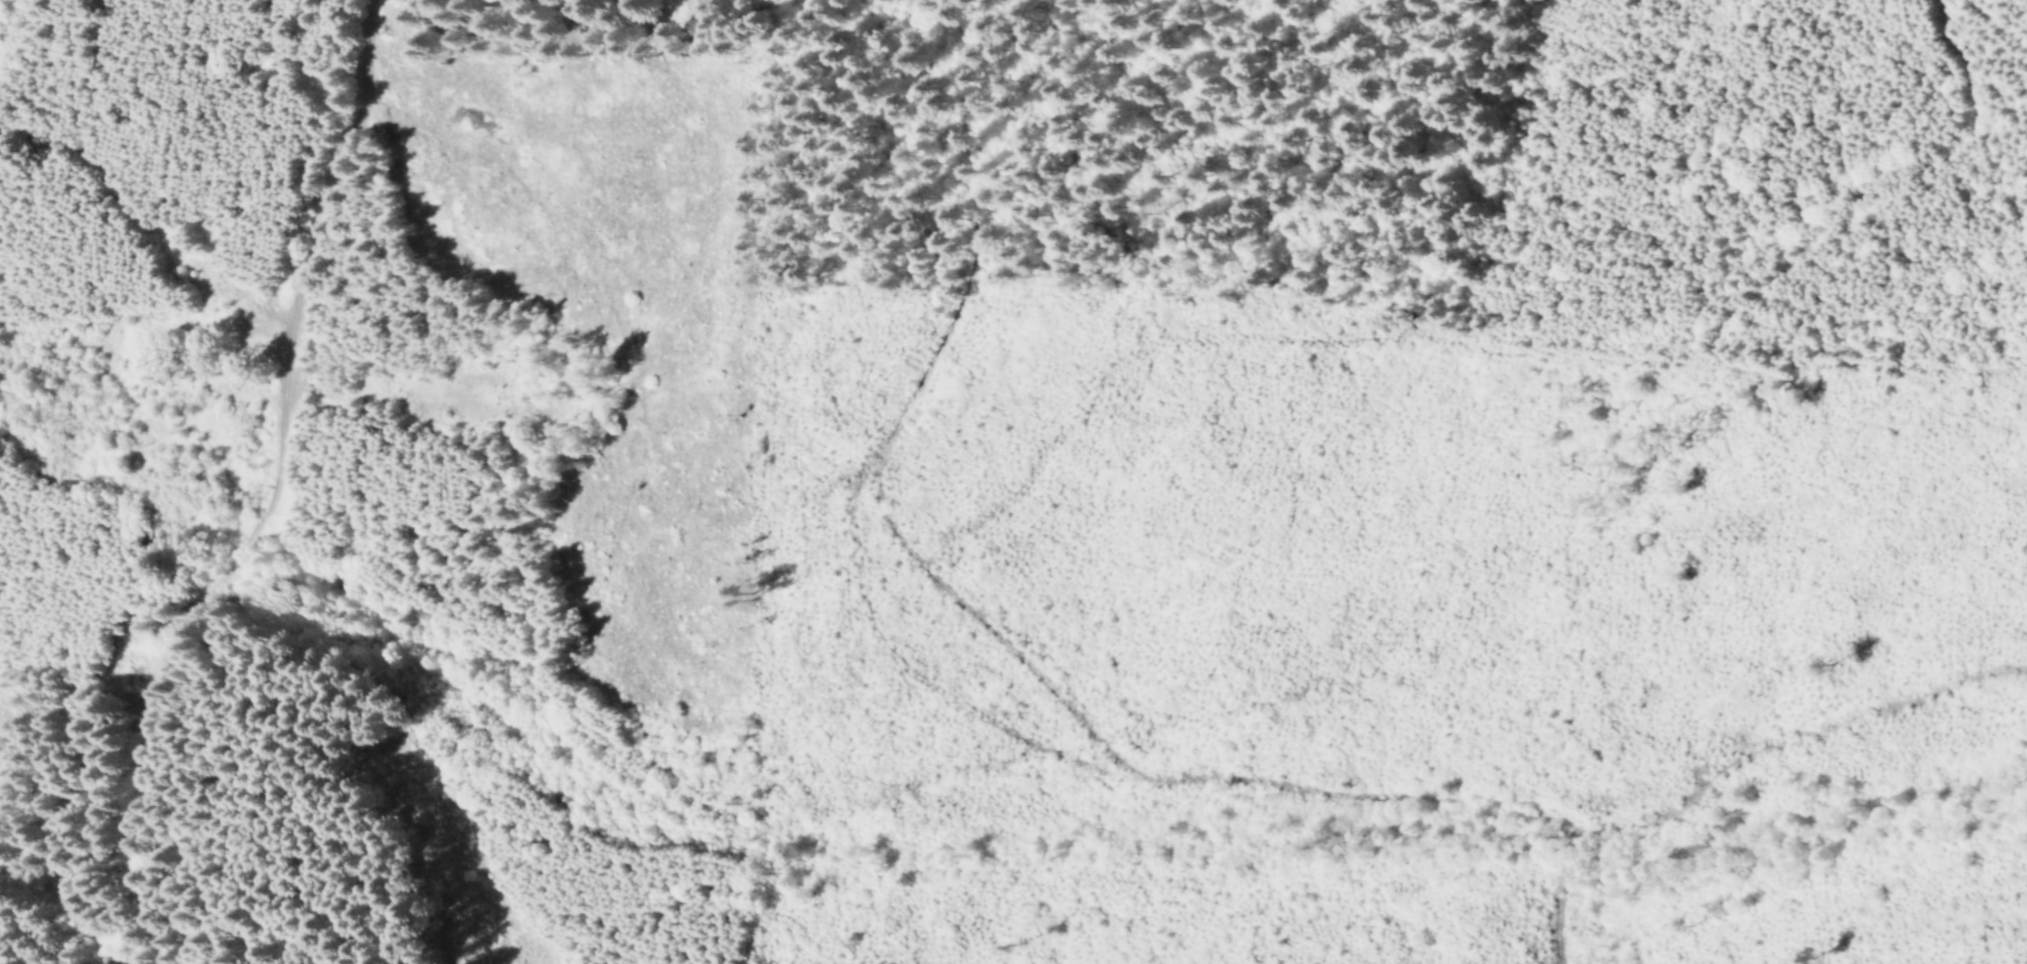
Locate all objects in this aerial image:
road: (255, 560)
road: (874, 776)

